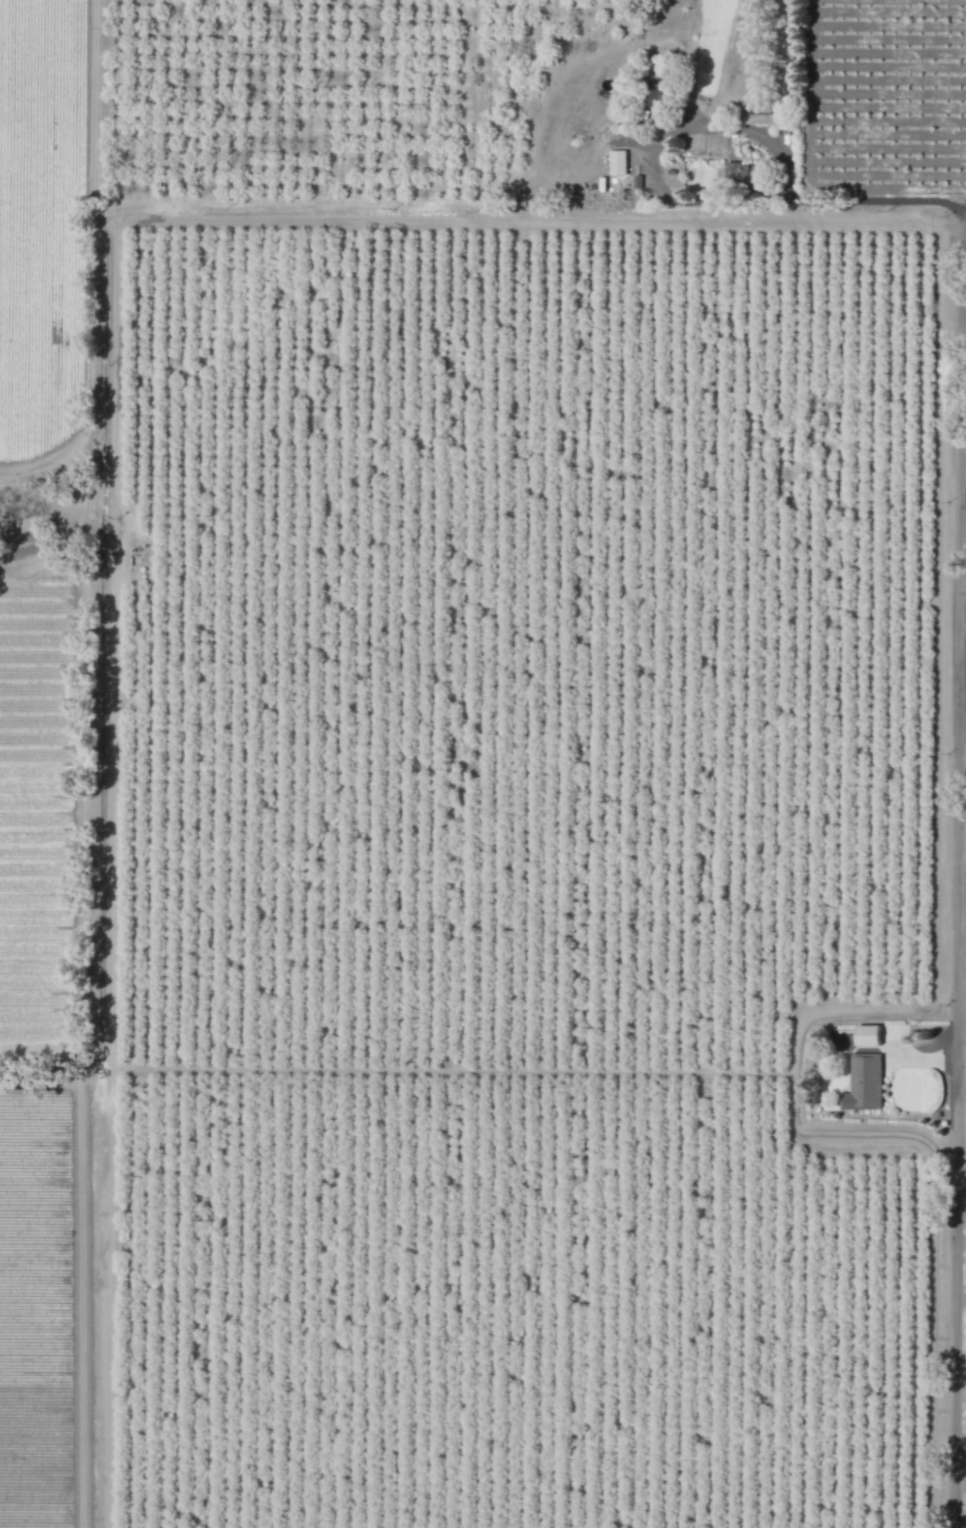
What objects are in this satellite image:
road: (657, 145)
building: (620, 163)
building: (745, 175)
road: (879, 199)
building: (867, 1035)
road: (960, 1081)
building: (863, 1083)

